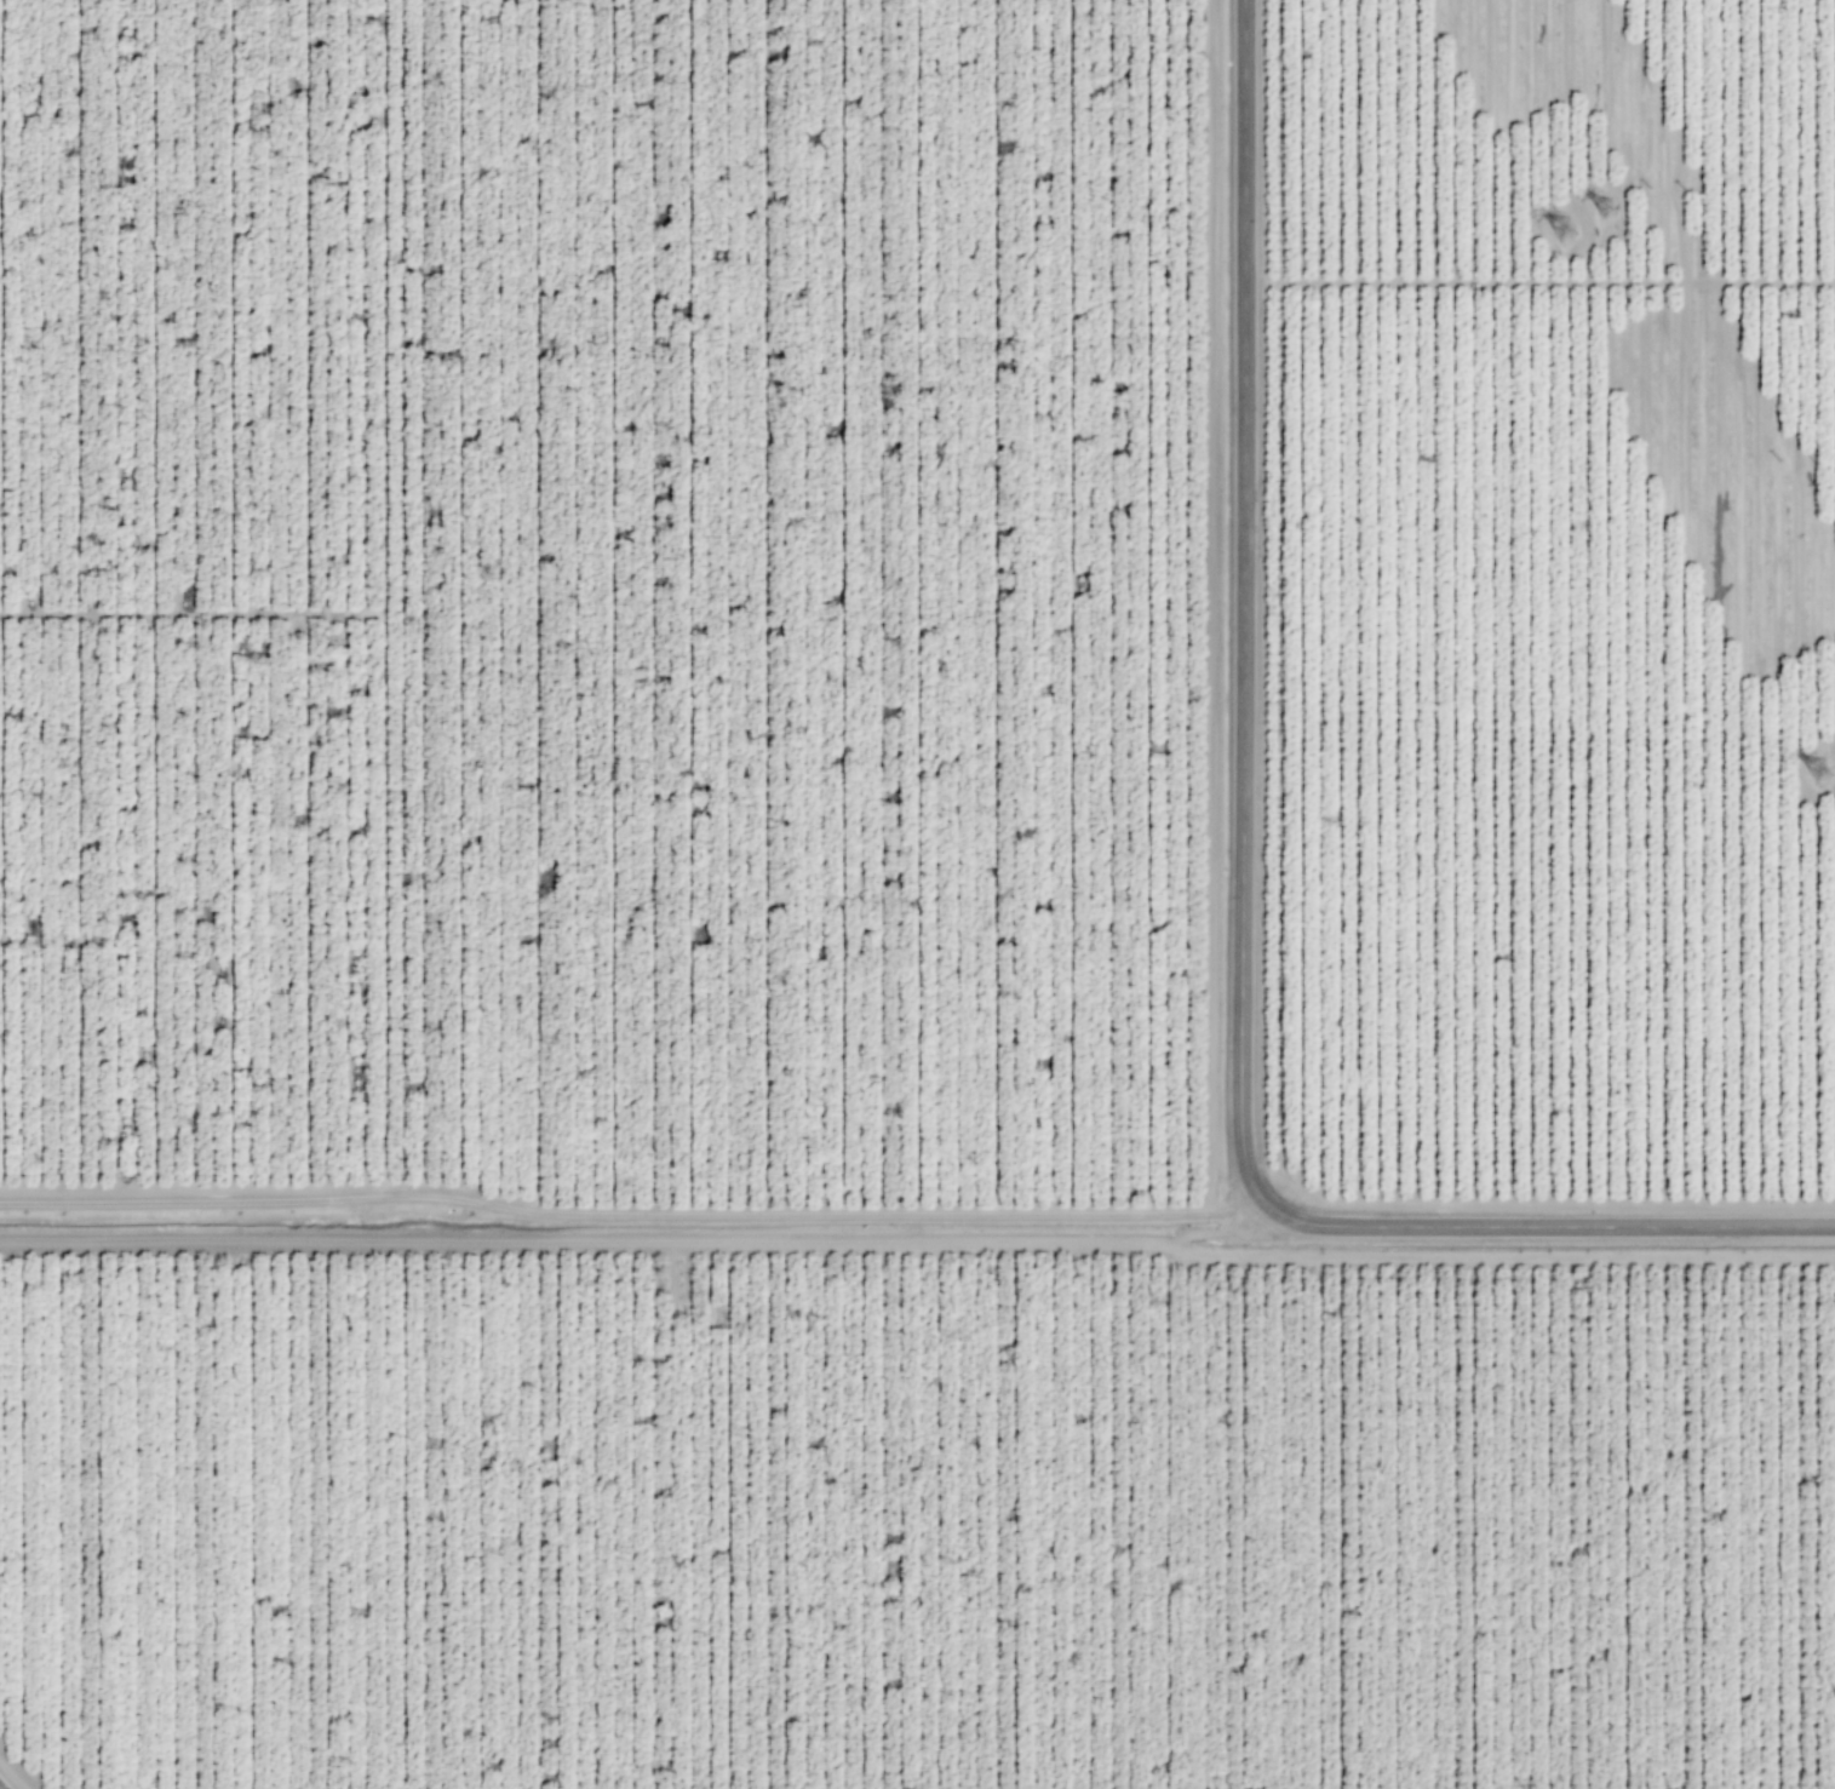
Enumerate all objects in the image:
power tower: (1607, 208)
power tower: (1561, 230)
road: (1538, 281)
power tower: (1818, 772)
road: (1239, 891)
road: (1237, 1208)
road: (1206, 1209)
road: (1228, 1232)
road: (580, 1242)
road: (12, 1774)

